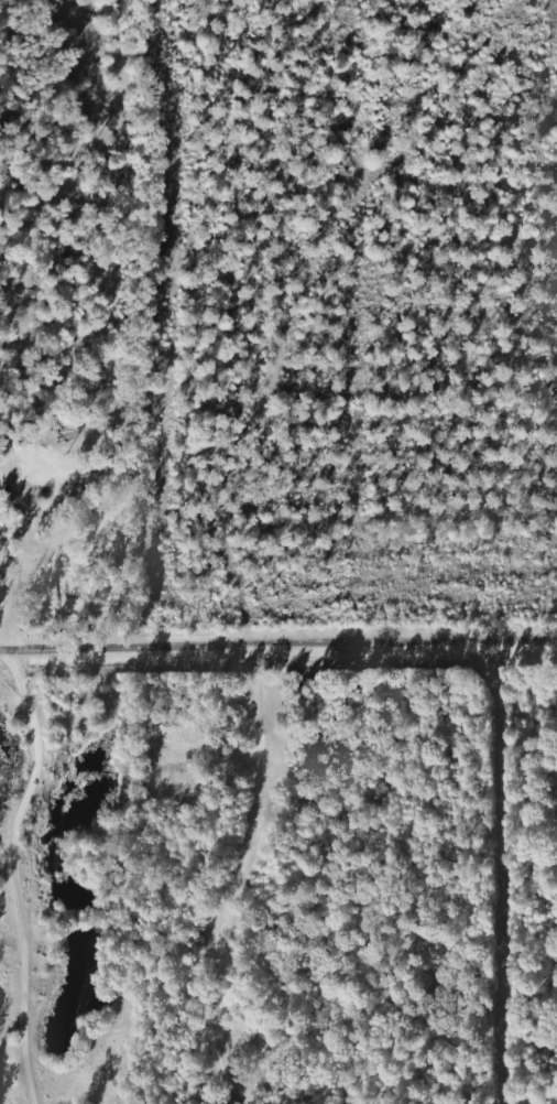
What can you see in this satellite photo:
road: (278, 653)
building: (554, 697)
road: (31, 824)
road: (249, 881)

